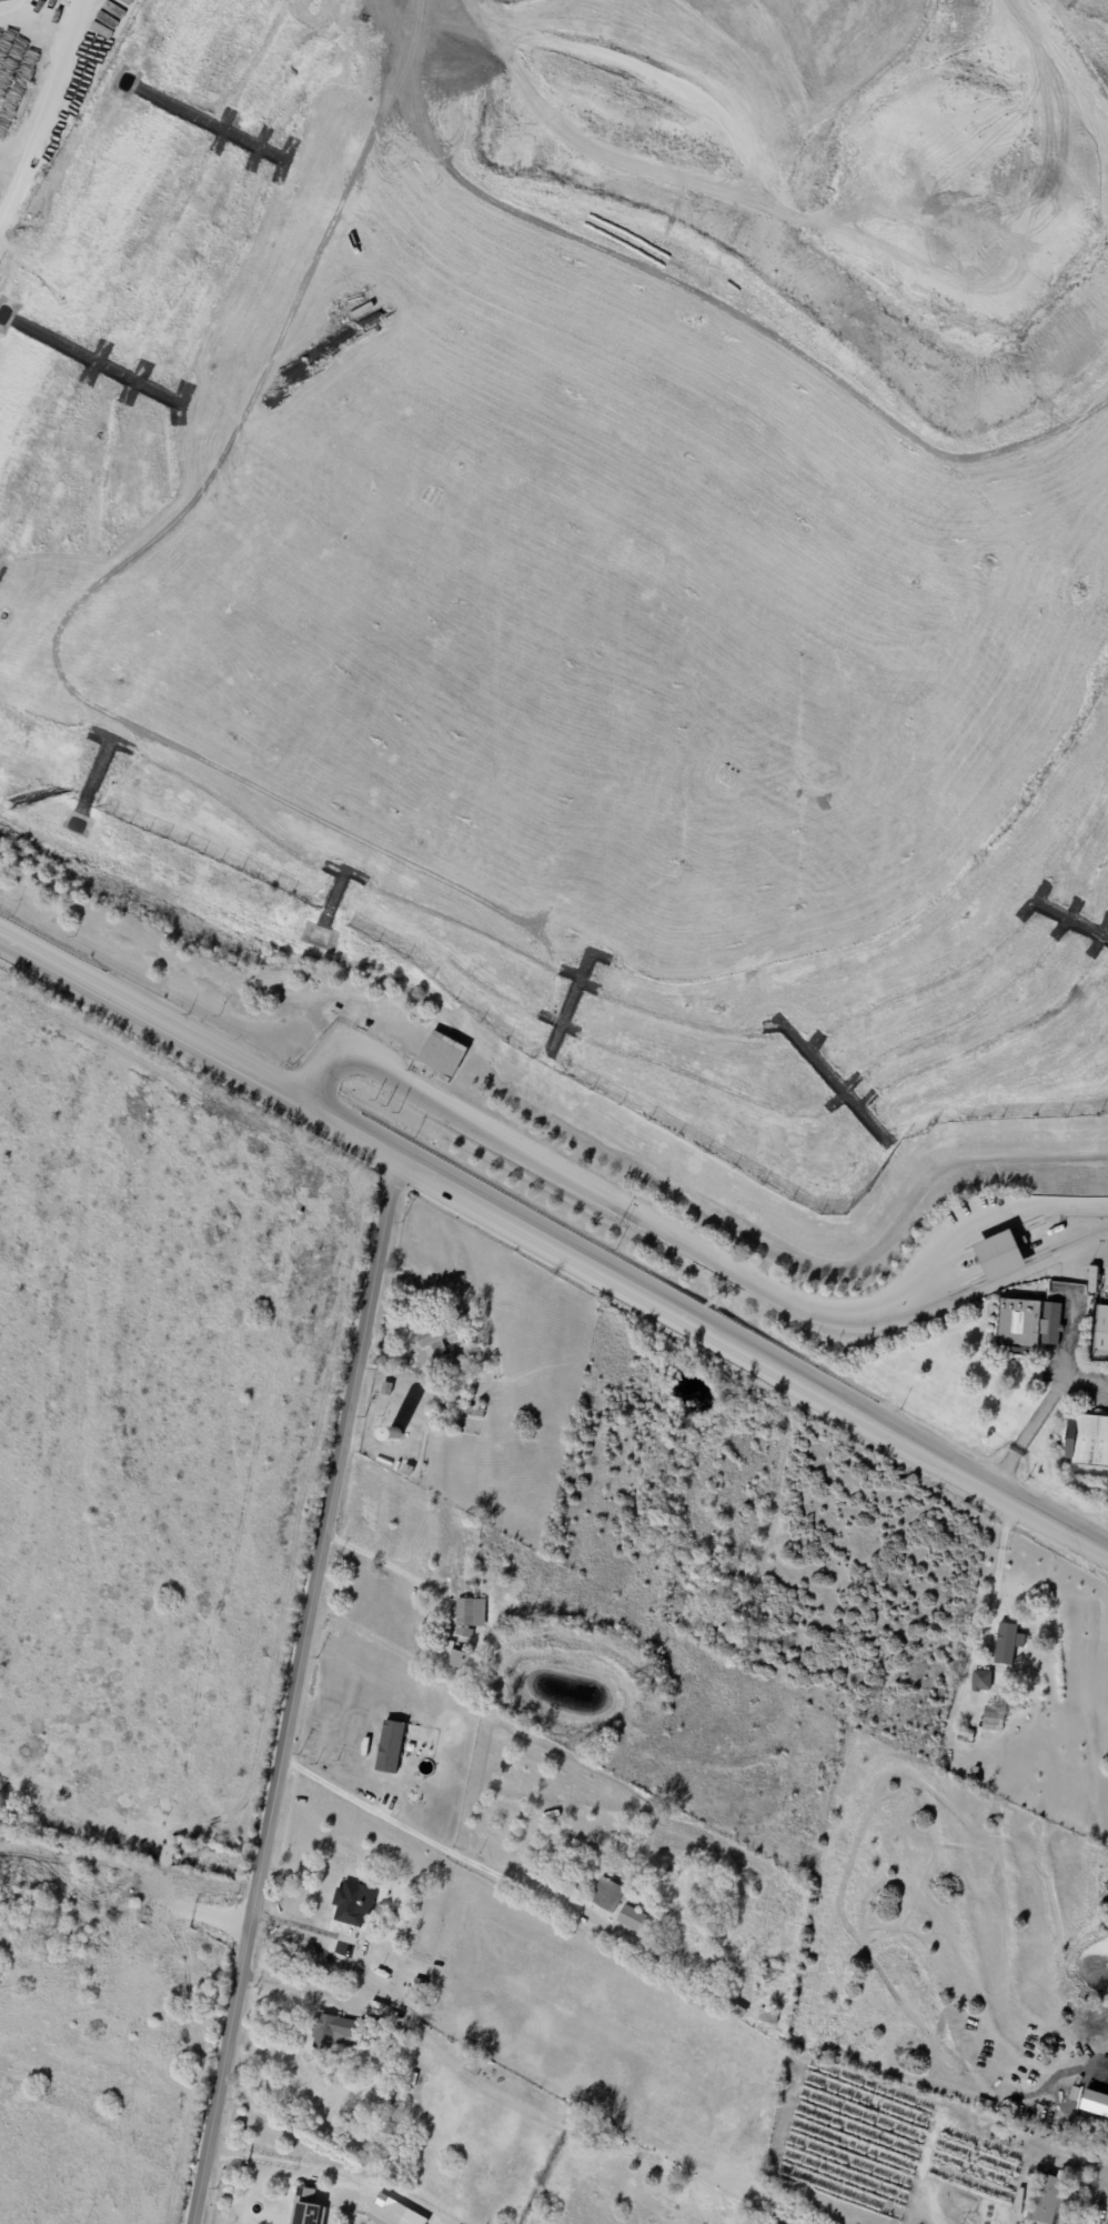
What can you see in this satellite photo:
road: (44, 113)
landfill: (595, 539)
building: (442, 1056)
road: (694, 1242)
road: (556, 1248)
building: (999, 1254)
building: (1092, 1279)
building: (1027, 1325)
building: (1100, 1333)
building: (433, 1341)
road: (1086, 1380)
building: (386, 1389)
road: (1051, 1395)
building: (470, 1411)
building: (456, 1430)
building: (396, 1432)
building: (1087, 1441)
building: (407, 1470)
road: (777, 1485)
road: (381, 1560)
road: (989, 1607)
building: (470, 1611)
building: (727, 1614)
building: (463, 1633)
building: (1007, 1644)
building: (457, 1659)
building: (981, 1680)
road: (291, 1690)
building: (994, 1720)
building: (966, 1734)
building: (391, 1745)
road: (425, 1842)
building: (607, 1894)
building: (353, 1904)
building: (656, 1916)
building: (631, 1919)
building: (683, 1953)
road: (300, 1983)
building: (733, 2011)
building: (767, 2017)
building: (330, 2031)
building: (473, 2063)
building: (412, 2078)
road: (298, 2163)
building: (1052, 2201)
building: (305, 2207)
building: (394, 2212)

